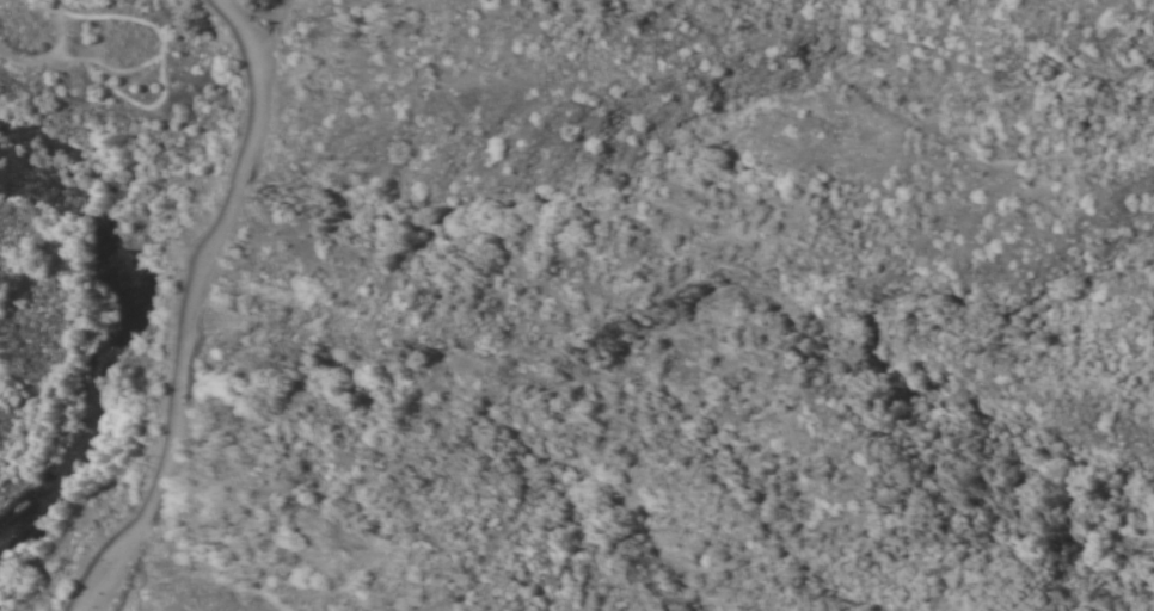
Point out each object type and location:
road: (195, 308)
river: (116, 335)

